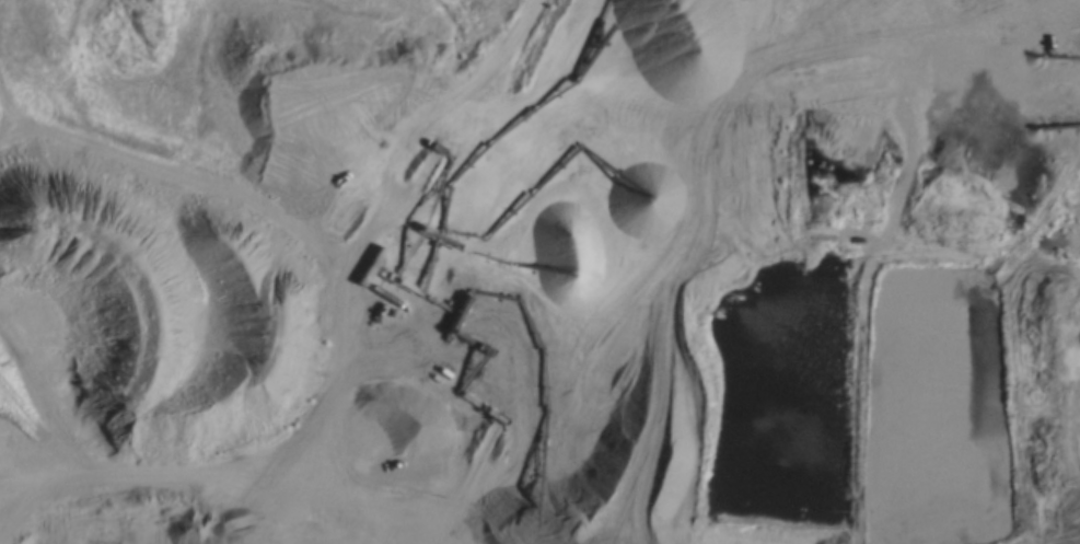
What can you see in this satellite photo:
quarry: (589, 264)

